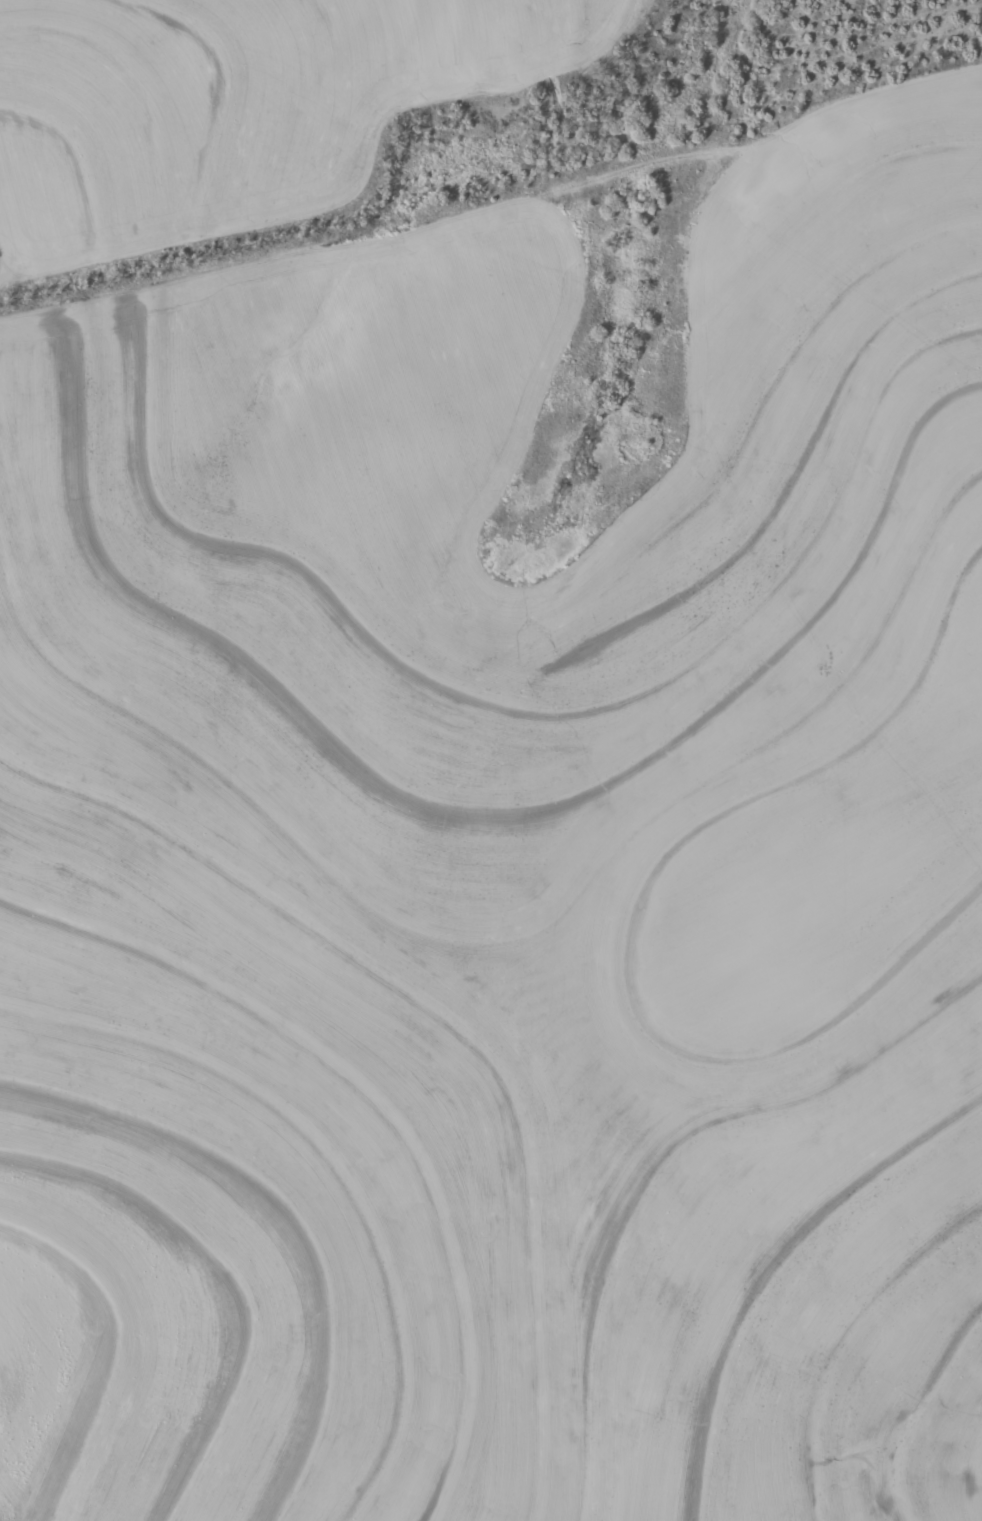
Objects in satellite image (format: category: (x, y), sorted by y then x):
road: (491, 193)

